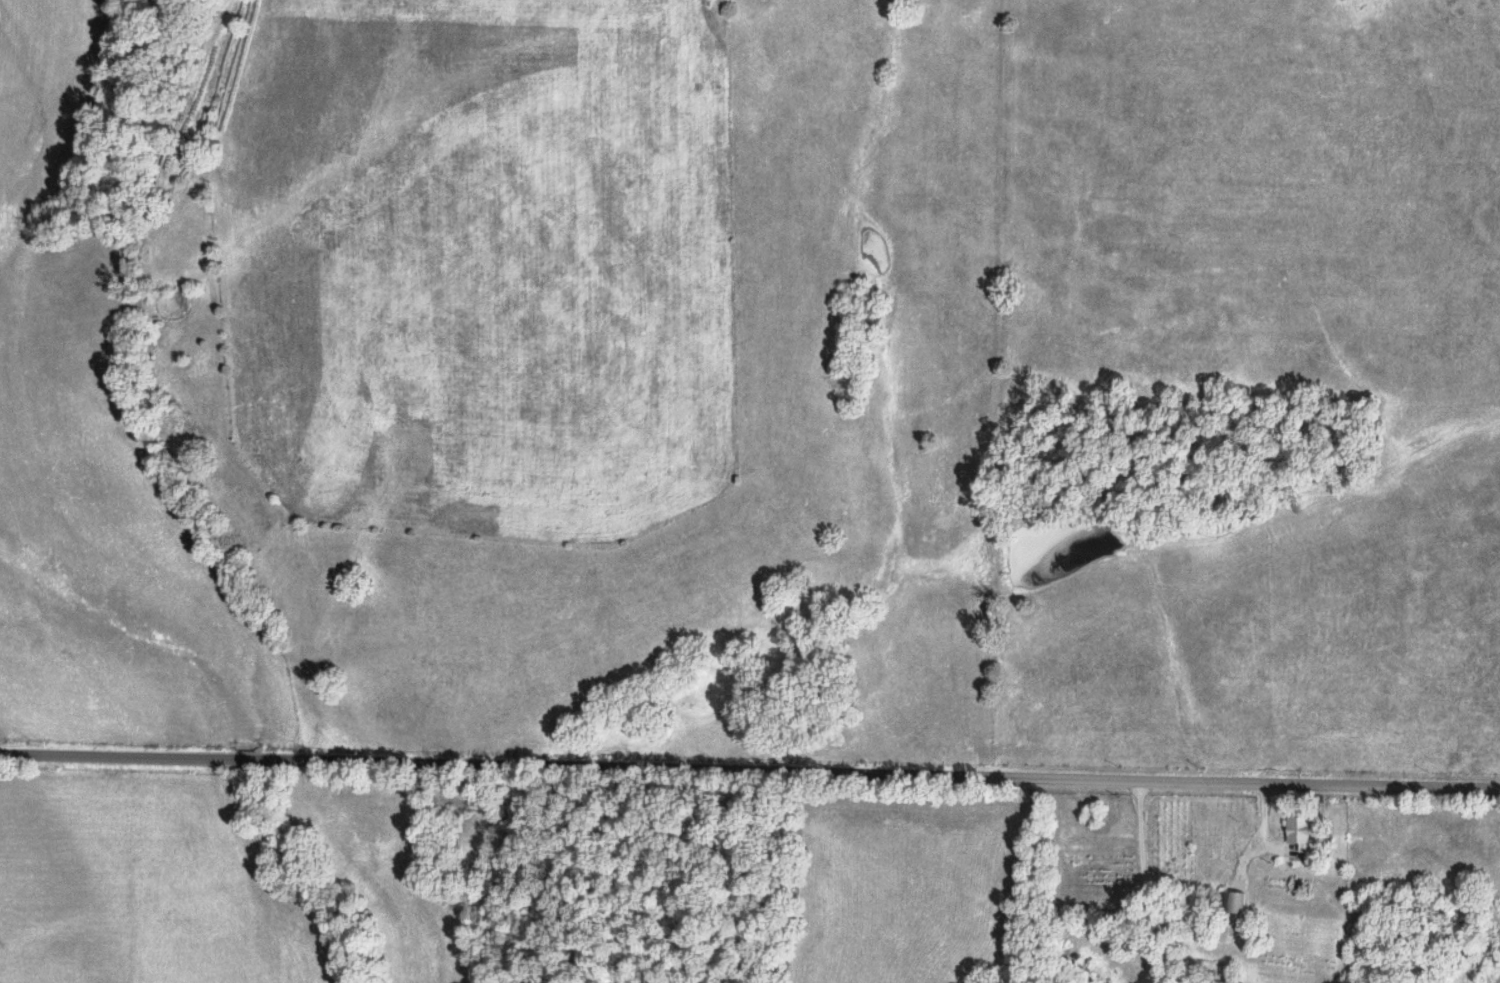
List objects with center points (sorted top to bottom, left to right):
road: (749, 770)
building: (1295, 828)
road: (1262, 833)
road: (1143, 881)
building: (1228, 904)

